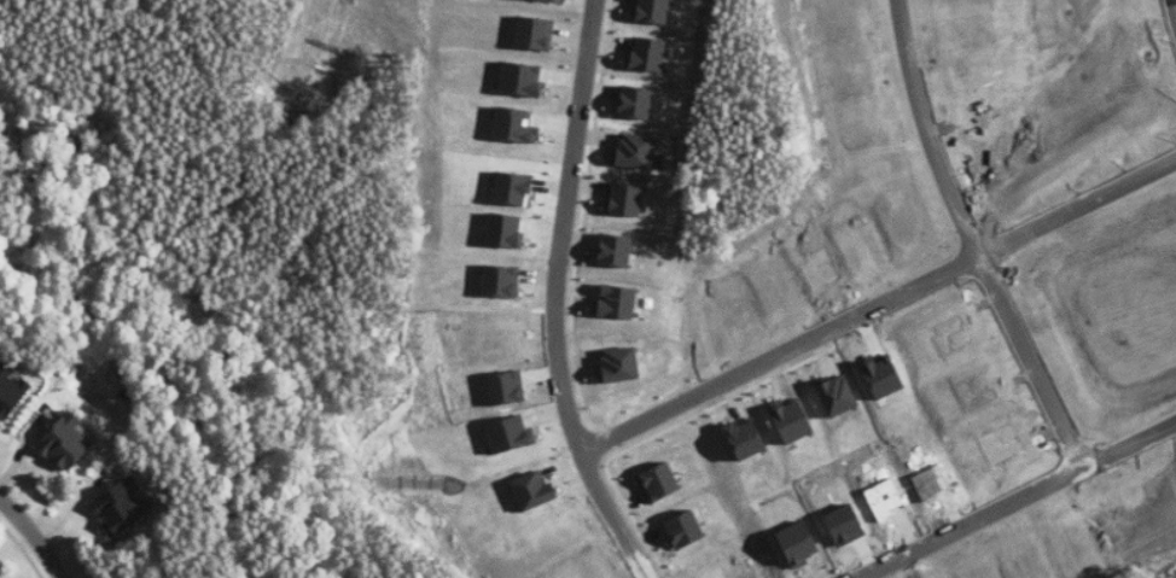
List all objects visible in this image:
building: (652, 11)
building: (648, 54)
building: (636, 103)
building: (635, 152)
building: (625, 199)
road: (565, 298)
road: (883, 298)
road: (1030, 352)
building: (7, 391)
building: (65, 442)
road: (1130, 445)
building: (122, 504)
road: (36, 533)

